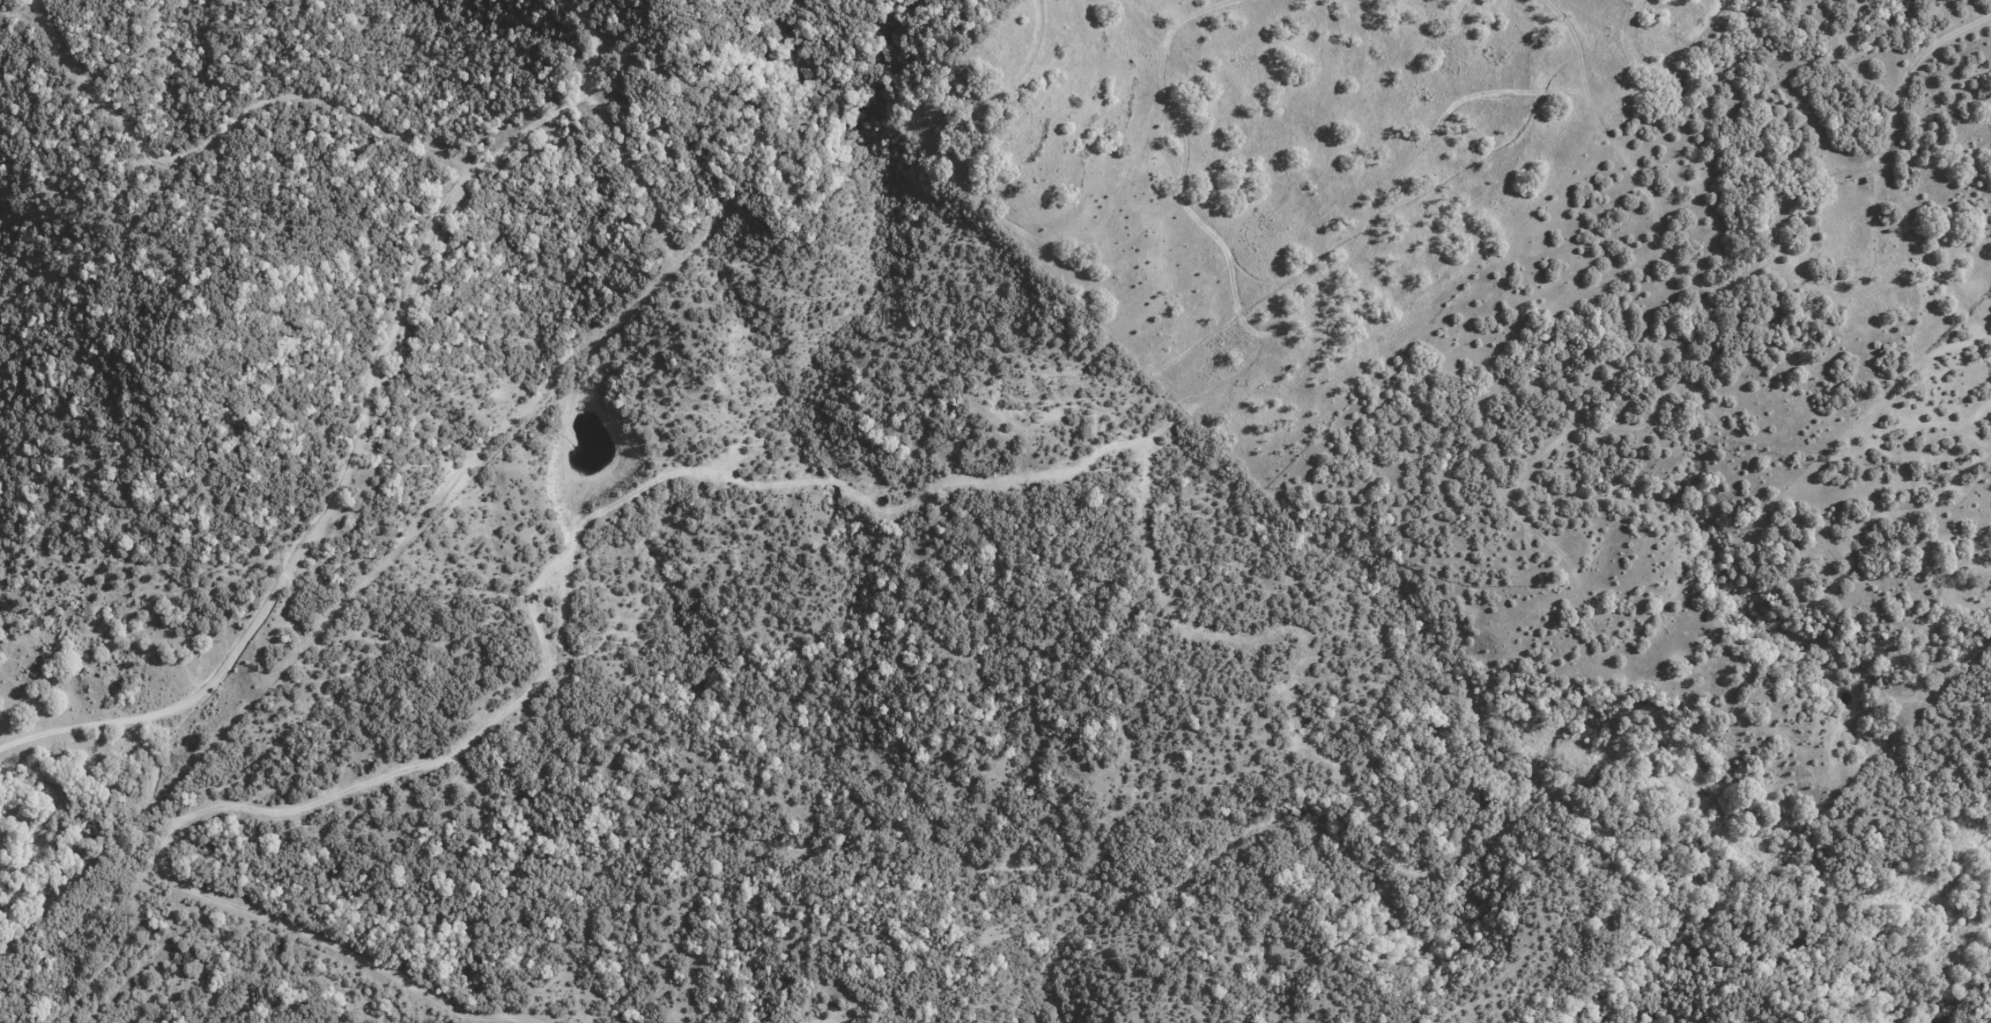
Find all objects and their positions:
road: (573, 103)
road: (228, 128)
road: (315, 546)
road: (309, 931)

